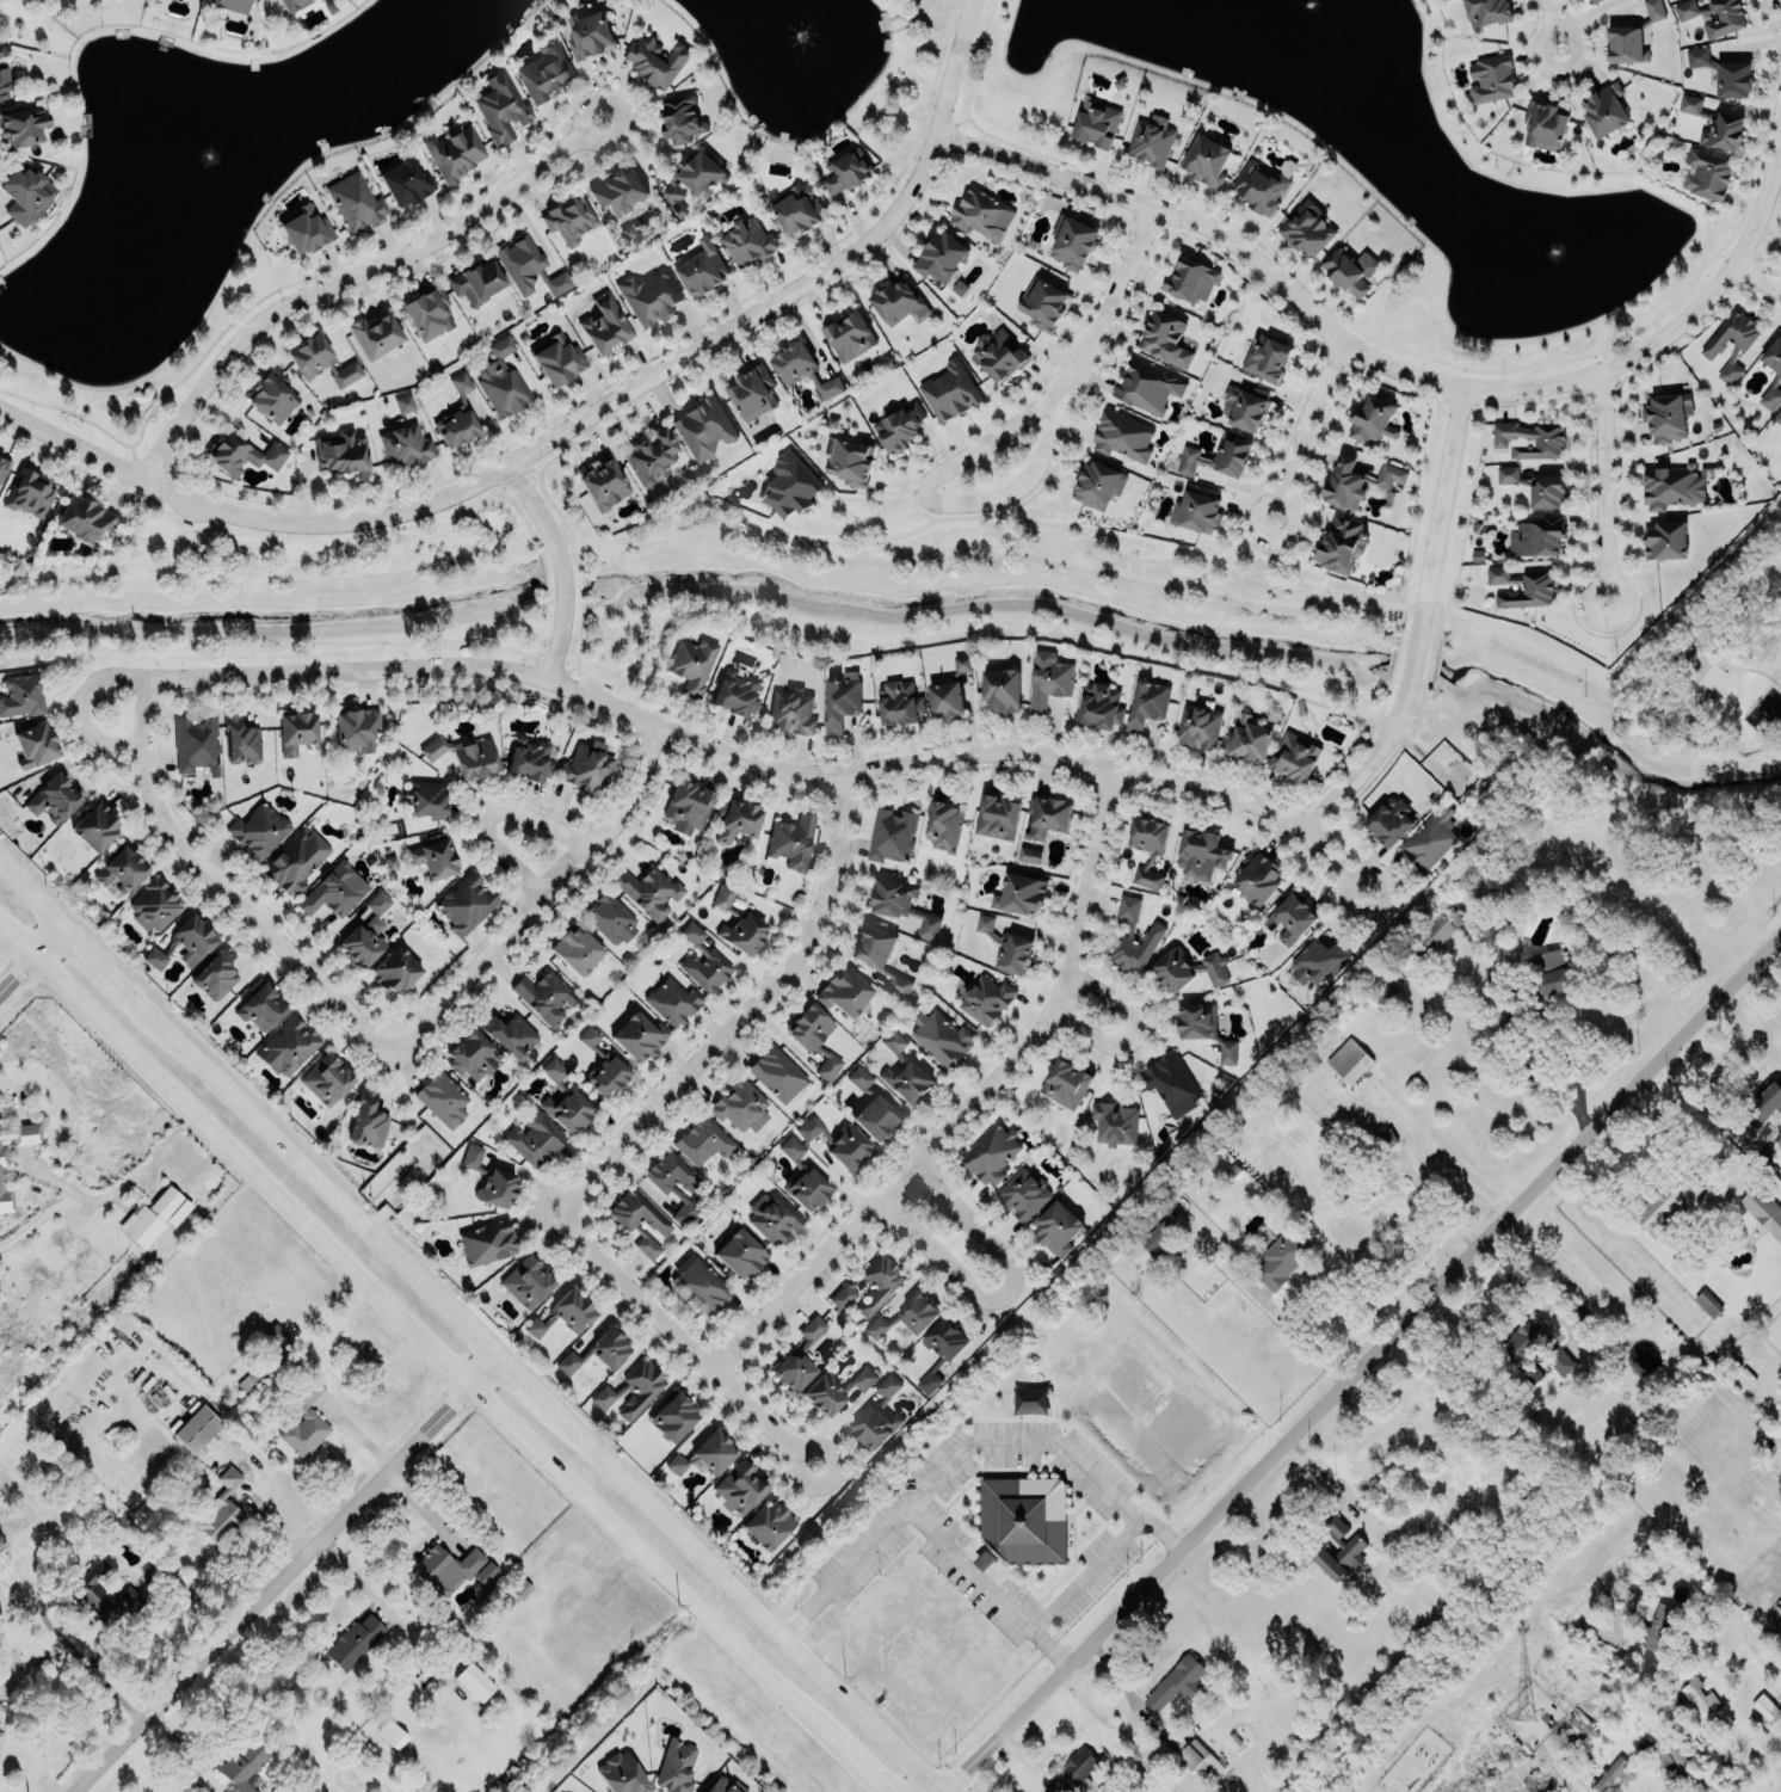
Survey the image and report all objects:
building: (1595, 1)
road: (1780, 1)
building: (233, 5)
building: (291, 5)
building: (1487, 12)
building: (1714, 16)
fountain: (790, 21)
road: (1553, 26)
building: (588, 35)
building: (1633, 36)
building: (1, 51)
building: (655, 60)
building: (543, 70)
building: (1725, 73)
building: (1490, 80)
building: (0, 81)
building: (4, 93)
building: (500, 106)
building: (1606, 110)
building: (682, 118)
building: (21, 123)
building: (1096, 124)
building: (1715, 124)
building: (1547, 127)
building: (1150, 141)
building: (455, 153)
building: (1206, 161)
building: (846, 172)
fountain: (223, 173)
building: (1706, 174)
building: (701, 175)
building: (406, 183)
building: (1263, 185)
building: (618, 191)
building: (25, 195)
building: (673, 197)
building: (355, 203)
building: (800, 211)
building: (982, 215)
building: (569, 218)
building: (1307, 229)
building: (307, 230)
building: (748, 241)
building: (1071, 242)
building: (1780, 247)
building: (941, 258)
building: (530, 269)
building: (701, 269)
building: (1351, 271)
road: (353, 276)
road: (1757, 278)
building: (1190, 281)
building: (477, 283)
building: (960, 288)
road: (1114, 291)
building: (648, 296)
building: (896, 301)
building: (1042, 304)
building: (426, 315)
building: (605, 325)
building: (374, 332)
building: (1731, 334)
building: (850, 337)
building: (1166, 339)
building: (557, 356)
building: (999, 356)
building: (1773, 356)
building: (1267, 358)
building: (322, 362)
road: (1393, 368)
building: (1730, 370)
building: (802, 371)
building: (504, 382)
building: (1147, 387)
building: (752, 393)
building: (950, 393)
building: (272, 396)
building: (1770, 399)
building: (403, 404)
building: (1246, 407)
building: (456, 414)
building: (1666, 417)
building: (1777, 417)
building: (1373, 421)
road: (572, 427)
building: (900, 427)
building: (704, 429)
road: (1306, 430)
building: (1122, 437)
building: (1551, 443)
building: (405, 445)
building: (343, 452)
building: (241, 454)
building: (651, 454)
building: (1218, 460)
building: (852, 462)
building: (2, 468)
building: (604, 484)
building: (1358, 484)
building: (1097, 485)
building: (789, 486)
building: (1671, 486)
building: (1537, 487)
road: (1602, 487)
building: (29, 493)
road: (937, 497)
road: (834, 505)
building: (1197, 510)
building: (84, 517)
building: (1540, 537)
building: (1666, 541)
building: (1341, 543)
road: (561, 567)
building: (1523, 587)
road: (1419, 627)
building: (692, 664)
building: (961, 664)
building: (1048, 681)
building: (1000, 690)
building: (737, 692)
building: (21, 696)
building: (944, 700)
building: (842, 702)
building: (899, 703)
building: (1148, 704)
building: (1101, 707)
building: (790, 712)
building: (1198, 727)
building: (357, 729)
building: (296, 732)
road: (689, 738)
building: (1247, 739)
building: (241, 740)
building: (196, 744)
building: (35, 745)
building: (466, 757)
building: (1295, 757)
building: (530, 759)
building: (586, 769)
building: (53, 799)
building: (427, 799)
building: (689, 807)
road: (493, 813)
building: (997, 817)
building: (1049, 817)
building: (1389, 820)
building: (739, 821)
building: (94, 825)
building: (944, 827)
building: (259, 829)
building: (893, 836)
building: (1429, 838)
building: (791, 842)
building: (1148, 849)
building: (1029, 854)
building: (1202, 854)
building: (432, 857)
building: (296, 862)
building: (121, 869)
building: (1257, 877)
road: (223, 886)
building: (333, 888)
building: (651, 889)
building: (1021, 894)
road: (543, 900)
building: (155, 903)
building: (467, 903)
building: (902, 906)
building: (610, 919)
building: (1294, 919)
building: (738, 920)
building: (984, 923)
building: (366, 931)
building: (1135, 938)
building: (1429, 940)
building: (185, 943)
road: (1774, 943)
building: (577, 949)
building: (1012, 954)
building: (881, 955)
building: (704, 959)
building: (1315, 961)
road: (32, 965)
building: (1188, 969)
building: (394, 971)
building: (216, 973)
building: (1496, 973)
building: (1549, 973)
building: (844, 990)
building: (544, 996)
building: (987, 998)
building: (671, 1000)
building: (261, 1005)
road: (747, 1014)
building: (511, 1033)
building: (639, 1033)
road: (1136, 1033)
building: (813, 1037)
building: (941, 1037)
building: (289, 1045)
road: (1728, 1046)
building: (472, 1055)
building: (1349, 1061)
building: (604, 1064)
building: (905, 1070)
building: (776, 1073)
road: (1578, 1074)
building: (327, 1077)
building: (858, 1078)
road: (1699, 1080)
building: (1065, 1084)
building: (1170, 1084)
building: (565, 1097)
building: (444, 1098)
road: (974, 1100)
building: (1764, 1104)
building: (740, 1107)
building: (875, 1117)
building: (369, 1119)
building: (1114, 1123)
building: (808, 1127)
road: (1696, 1131)
building: (1383, 1137)
building: (534, 1138)
building: (703, 1141)
building: (790, 1149)
building: (849, 1149)
building: (990, 1154)
building: (1770, 1163)
building: (1, 1176)
building: (491, 1177)
building: (665, 1187)
building: (807, 1189)
building: (1023, 1195)
building: (1666, 1205)
building: (1763, 1211)
building: (154, 1217)
building: (640, 1218)
building: (772, 1218)
building: (1059, 1227)
building: (1158, 1237)
building: (487, 1242)
building: (740, 1251)
building: (1280, 1260)
road: (1518, 1275)
building: (528, 1280)
building: (700, 1285)
building: (883, 1289)
road: (1011, 1295)
building: (1707, 1305)
building: (566, 1312)
building: (908, 1316)
road: (463, 1335)
road: (689, 1340)
road: (1300, 1341)
building: (1526, 1341)
building: (942, 1349)
building: (597, 1351)
road: (440, 1355)
building: (800, 1355)
road: (1363, 1356)
building: (1561, 1363)
building: (1532, 1373)
building: (861, 1378)
building: (640, 1387)
building: (824, 1394)
building: (603, 1397)
building: (673, 1415)
building: (879, 1416)
building: (304, 1420)
building: (196, 1428)
building: (705, 1453)
road: (960, 1453)
road: (1323, 1478)
building: (740, 1485)
building: (223, 1508)
building: (1023, 1520)
building: (769, 1522)
building: (1339, 1551)
building: (442, 1568)
building: (485, 1572)
road: (284, 1577)
building: (103, 1593)
road: (47, 1619)
road: (1027, 1625)
road: (94, 1626)
building: (1779, 1626)
building: (1659, 1627)
building: (355, 1642)
road: (1050, 1649)
road: (32, 1659)
road: (7, 1667)
building: (474, 1681)
road: (1122, 1682)
building: (1177, 1682)
road: (111, 1686)
building: (1702, 1702)
building: (1, 1708)
building: (1764, 1710)
building: (1573, 1730)
road: (1744, 1731)
building: (392, 1734)
building: (0, 1738)
building: (1195, 1756)
building: (677, 1765)
building: (244, 1766)
building: (1078, 1766)
building: (622, 1773)
building: (1610, 1773)
building: (726, 1785)
road: (1776, 1786)

